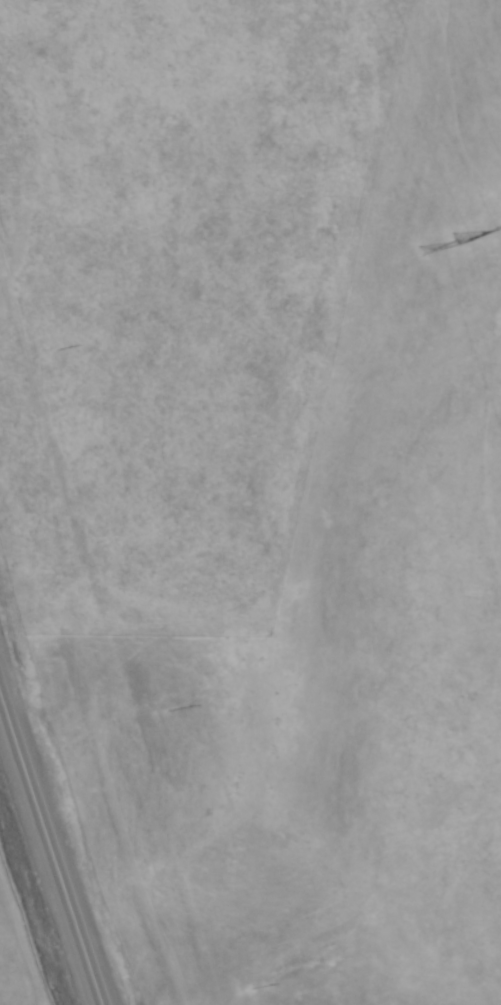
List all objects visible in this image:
power tower: (423, 222)
road: (50, 849)

